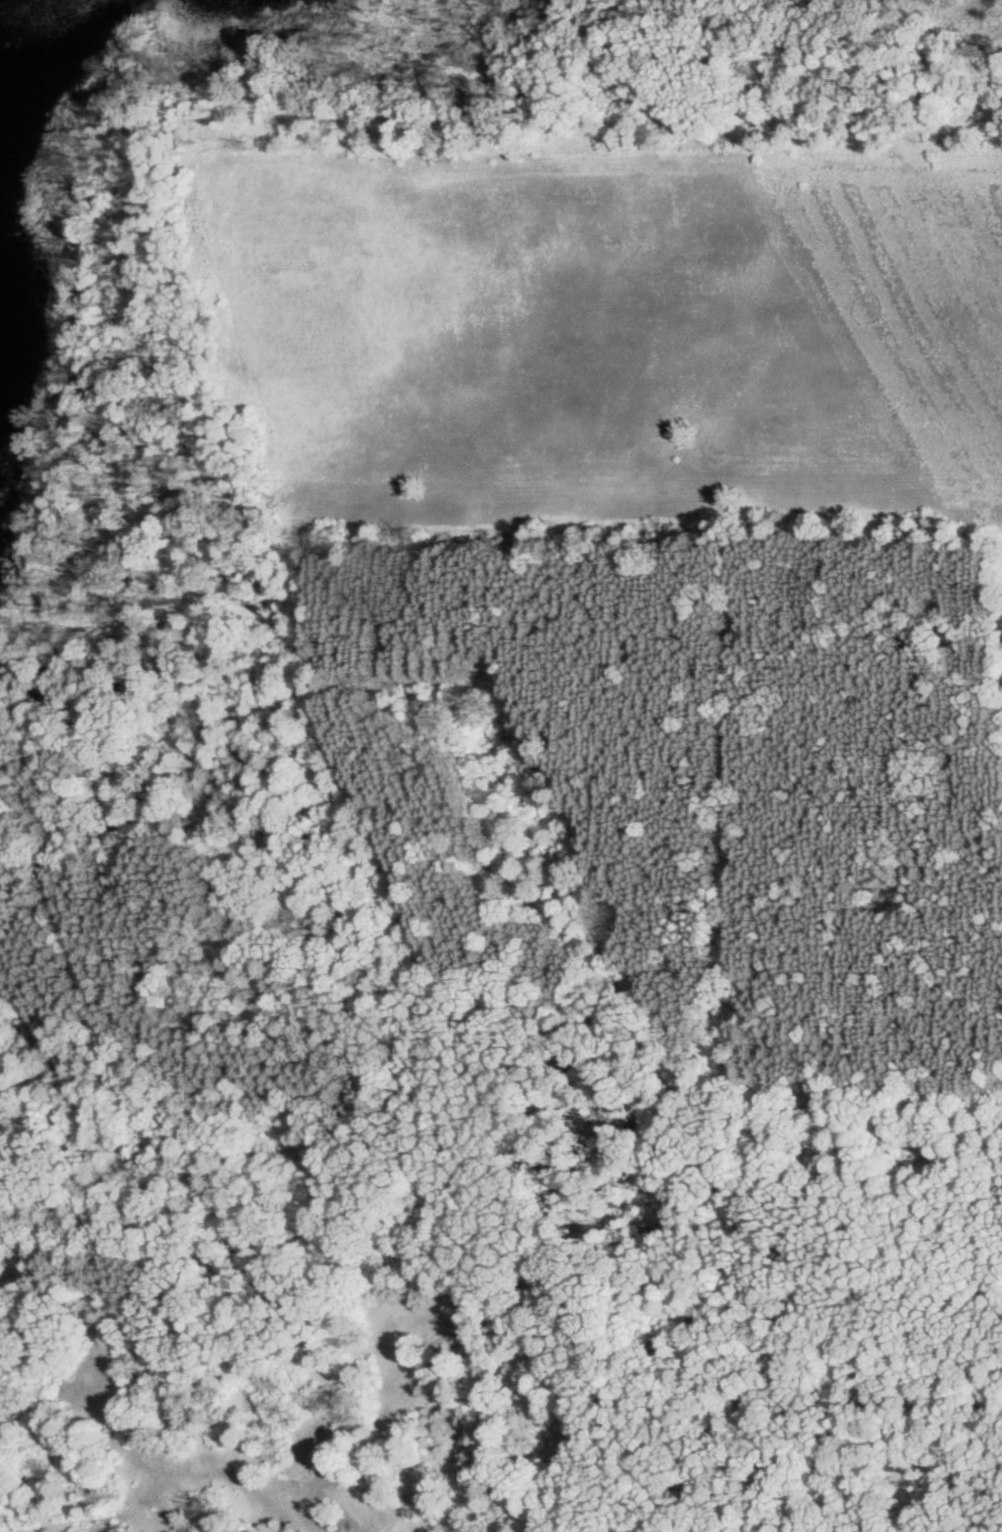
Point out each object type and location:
road: (373, 578)
road: (157, 996)
road: (536, 1282)

